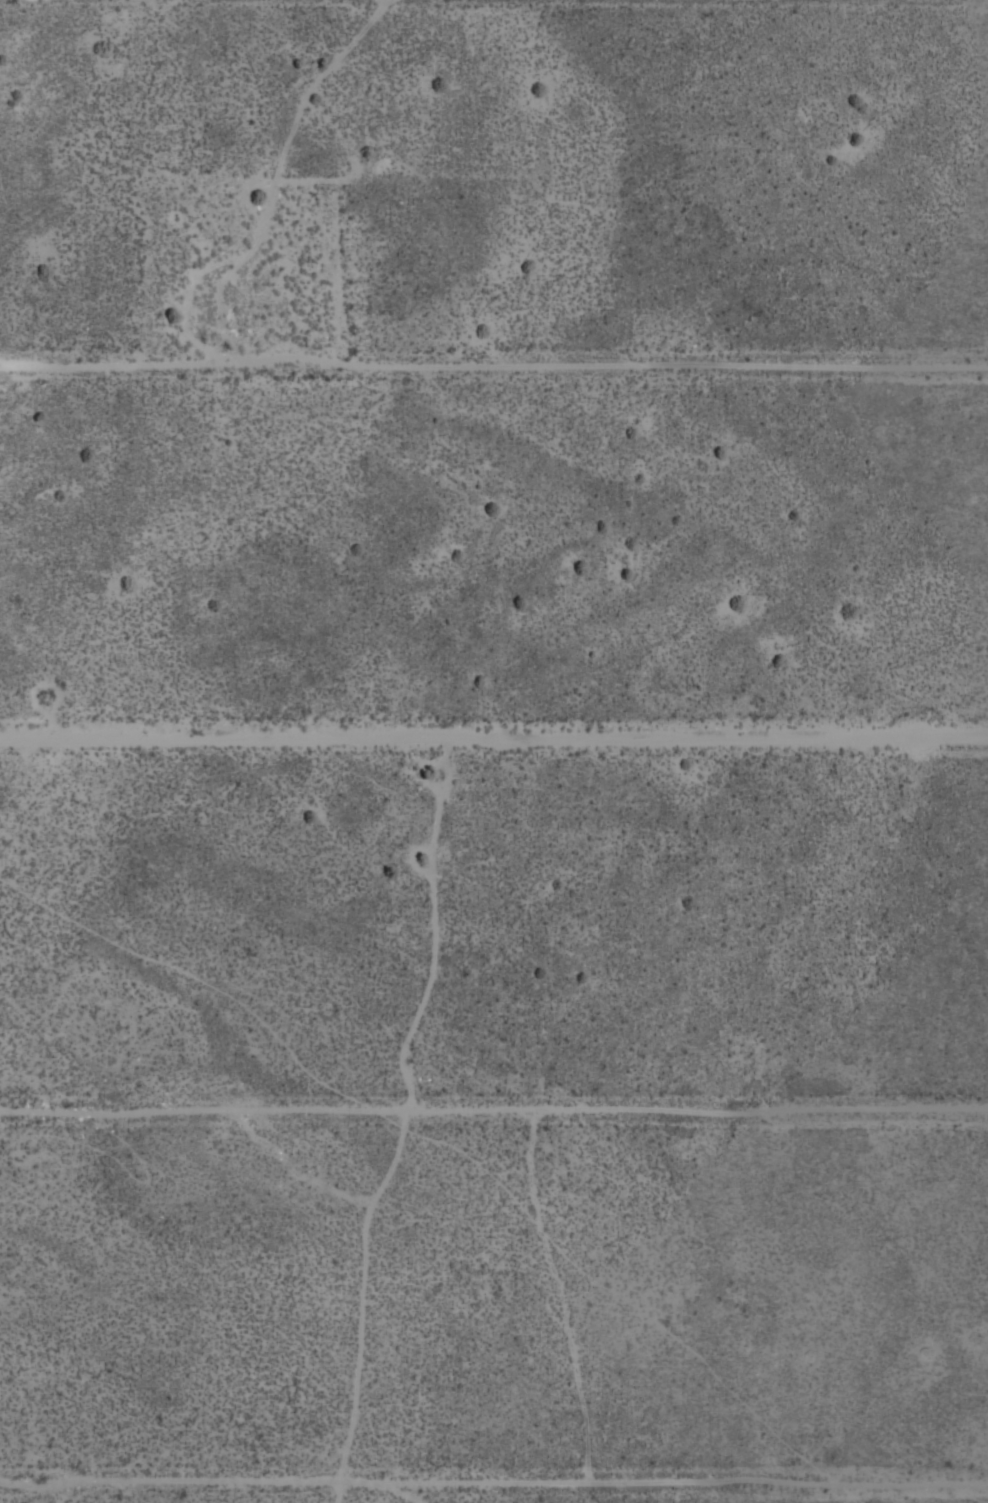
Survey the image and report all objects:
road: (494, 362)
road: (493, 737)
road: (494, 1109)
road: (494, 1483)

